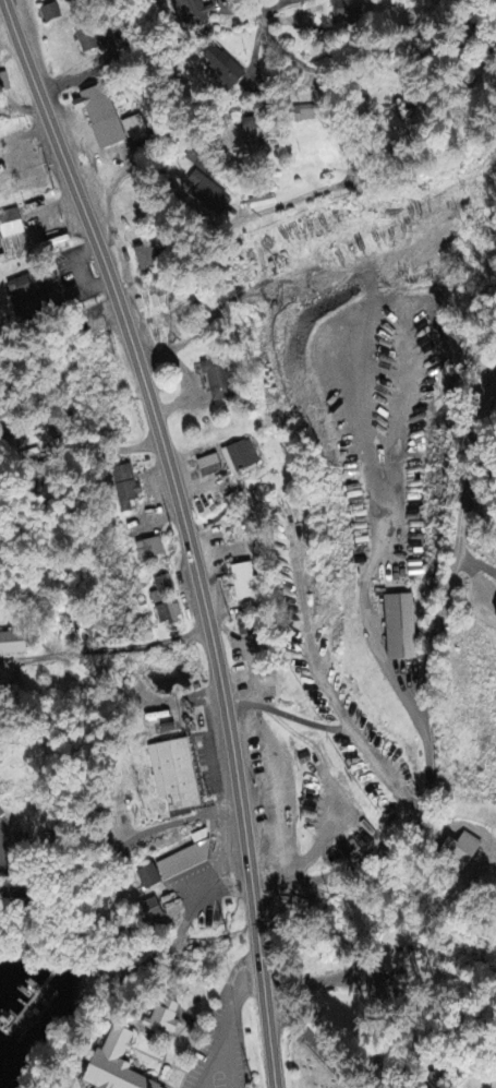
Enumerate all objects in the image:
building: (309, 0)
building: (193, 12)
building: (346, 14)
building: (50, 15)
road: (5, 27)
building: (87, 39)
road: (276, 50)
road: (102, 65)
building: (232, 75)
building: (4, 84)
building: (305, 115)
building: (108, 120)
building: (256, 132)
building: (209, 196)
building: (12, 226)
building: (147, 261)
building: (34, 286)
building: (218, 381)
building: (240, 457)
building: (210, 467)
building: (125, 489)
road: (186, 531)
building: (150, 550)
road: (356, 554)
building: (244, 583)
building: (161, 590)
building: (169, 615)
building: (247, 629)
building: (400, 629)
building: (12, 645)
road: (428, 688)
building: (174, 776)
road: (121, 846)
building: (464, 849)
road: (445, 868)
building: (170, 870)
building: (154, 911)
building: (166, 1020)
road: (313, 1043)
building: (116, 1064)
park: (307, 1066)

